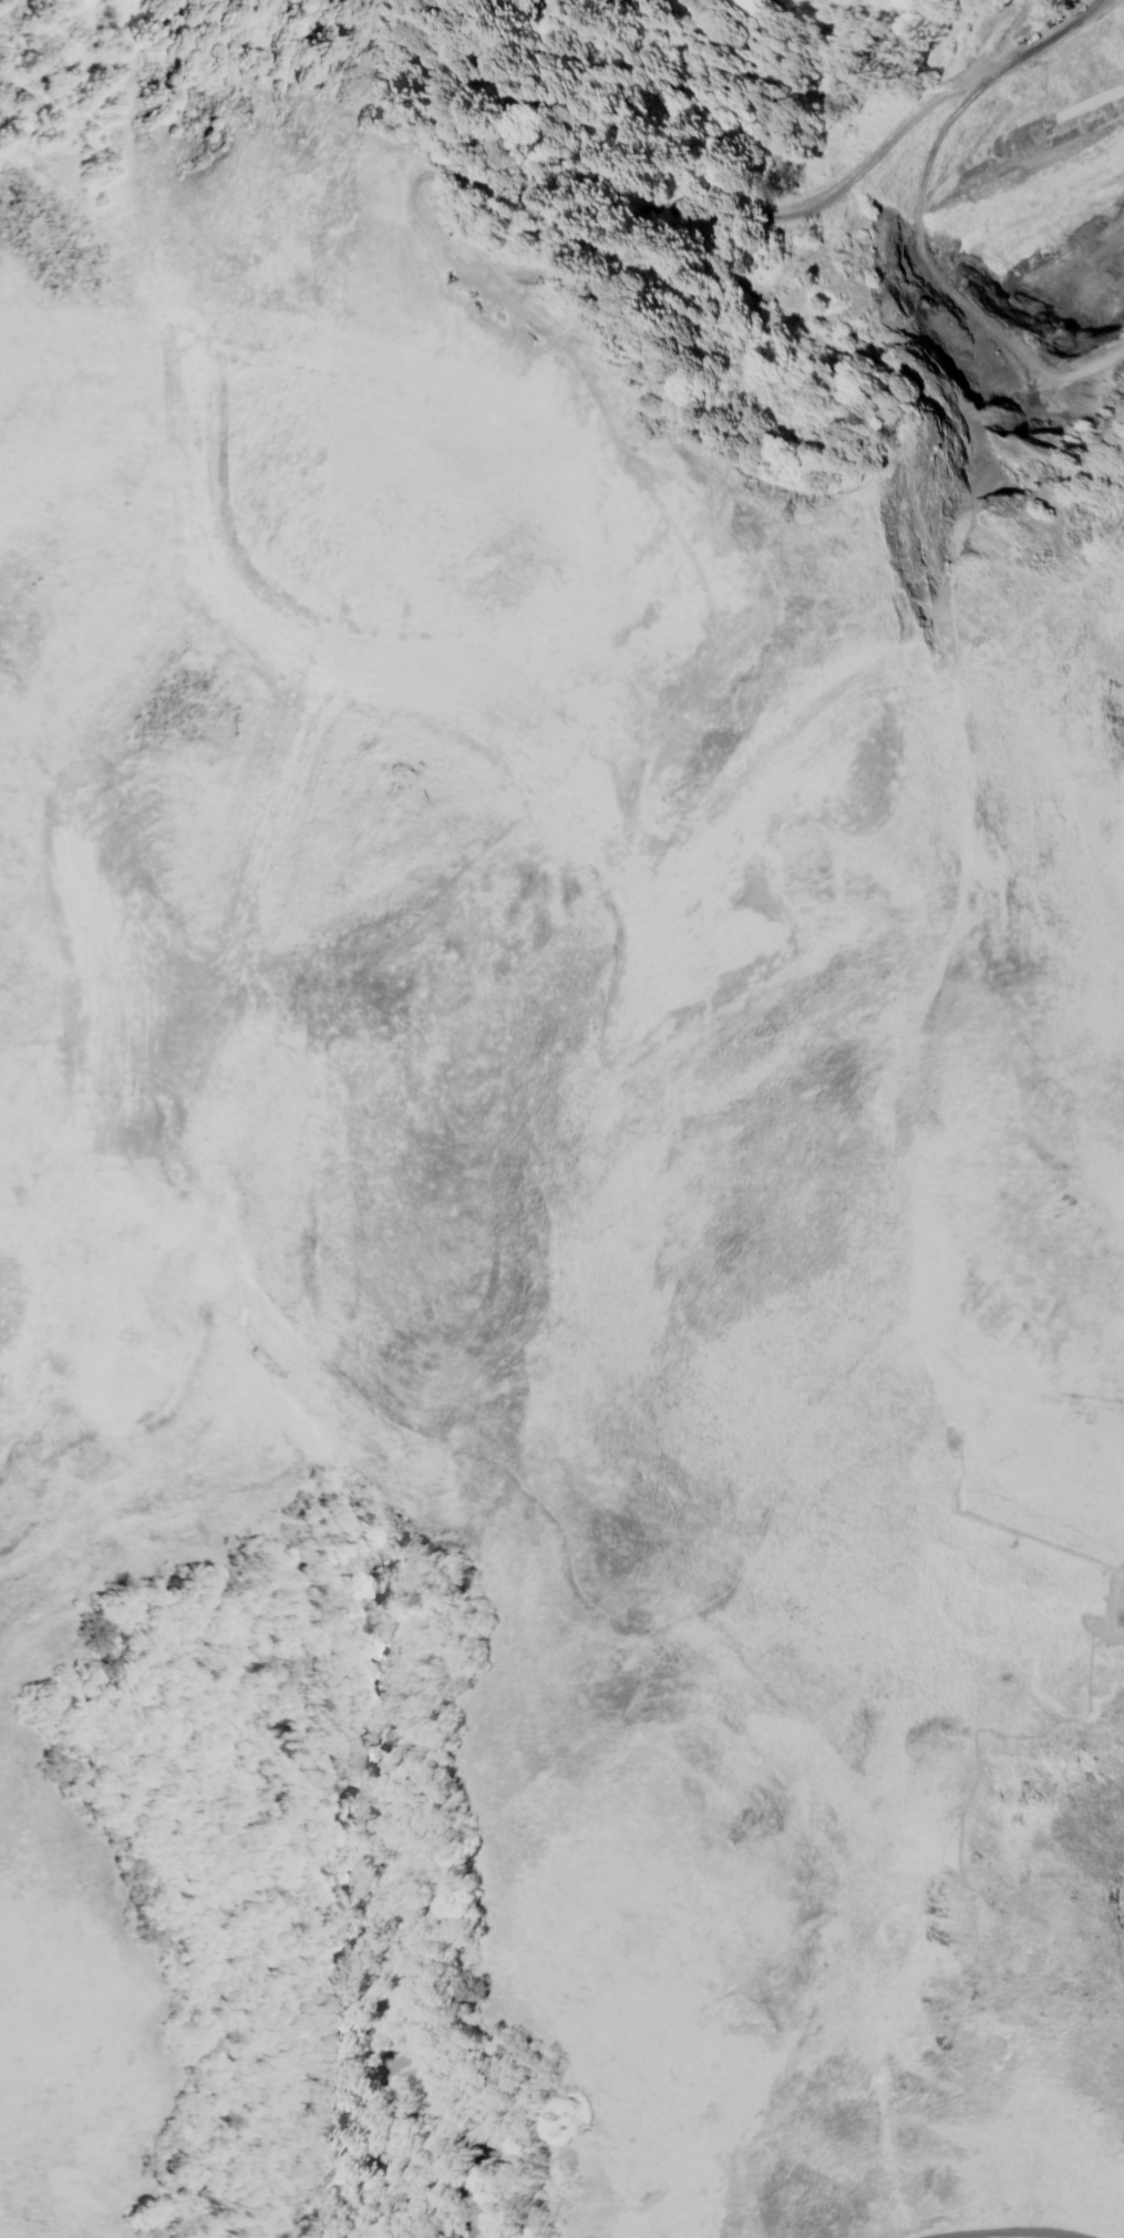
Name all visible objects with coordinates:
quarry: (1002, 280)
road: (389, 2047)
road: (460, 2187)
road: (1006, 2226)

